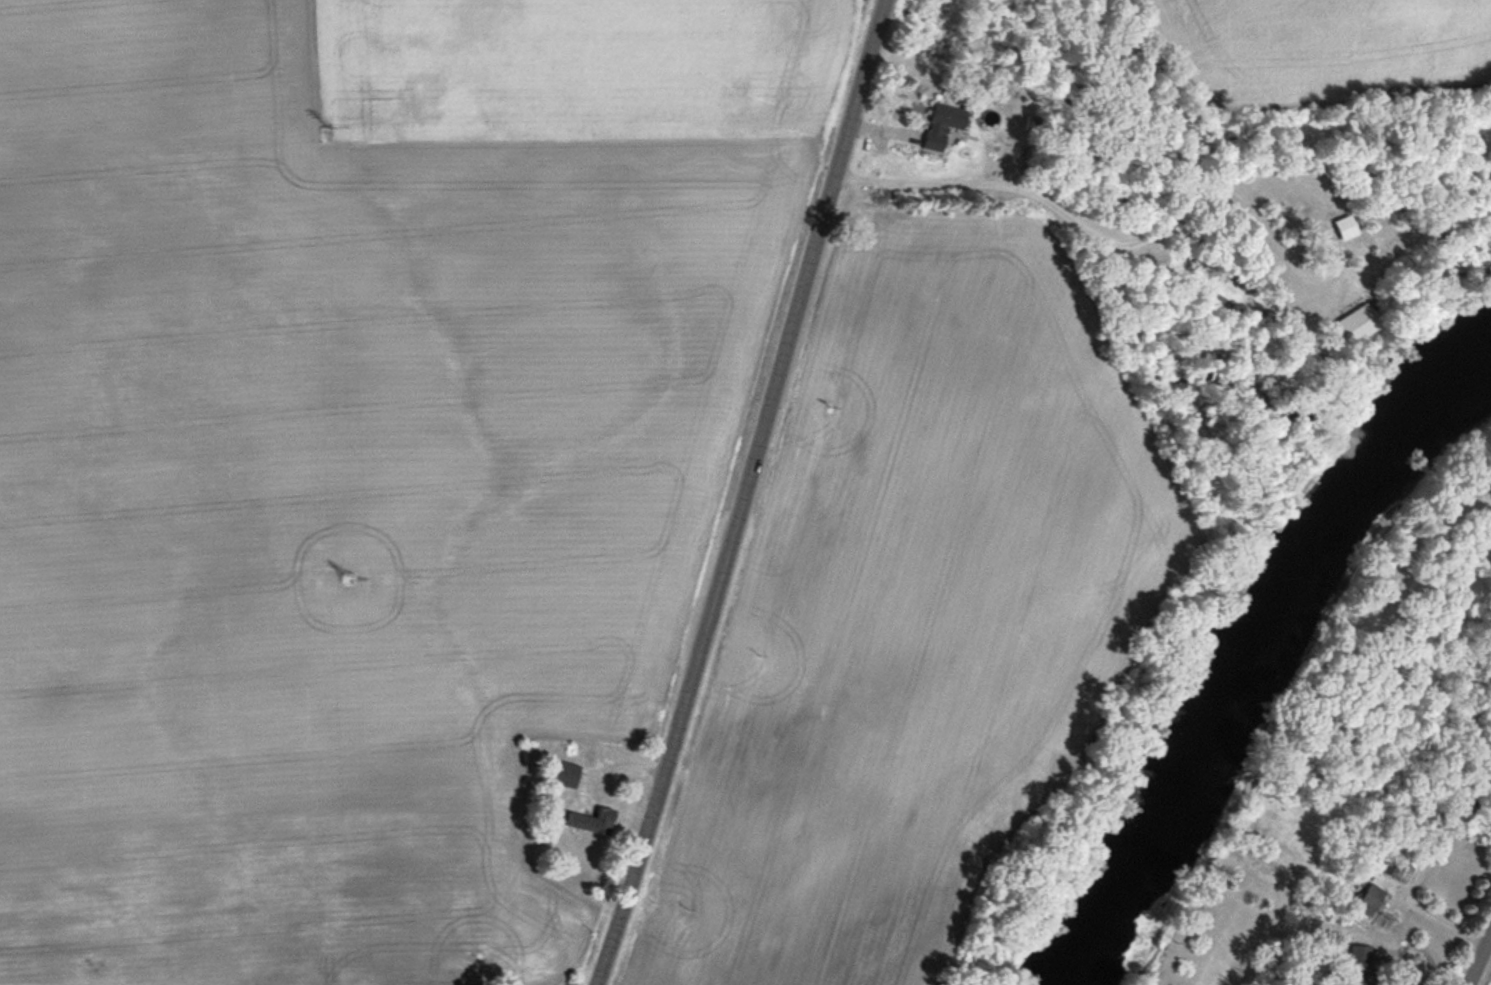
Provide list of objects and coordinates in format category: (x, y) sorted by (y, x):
building: (944, 123)
power tower: (331, 133)
road: (837, 159)
road: (1096, 216)
building: (1346, 225)
building: (1361, 321)
power tower: (353, 579)
river: (1256, 644)
road: (702, 653)
building: (562, 771)
building: (1465, 806)
building: (594, 819)
building: (1383, 885)
road: (1481, 965)
building: (1360, 974)

